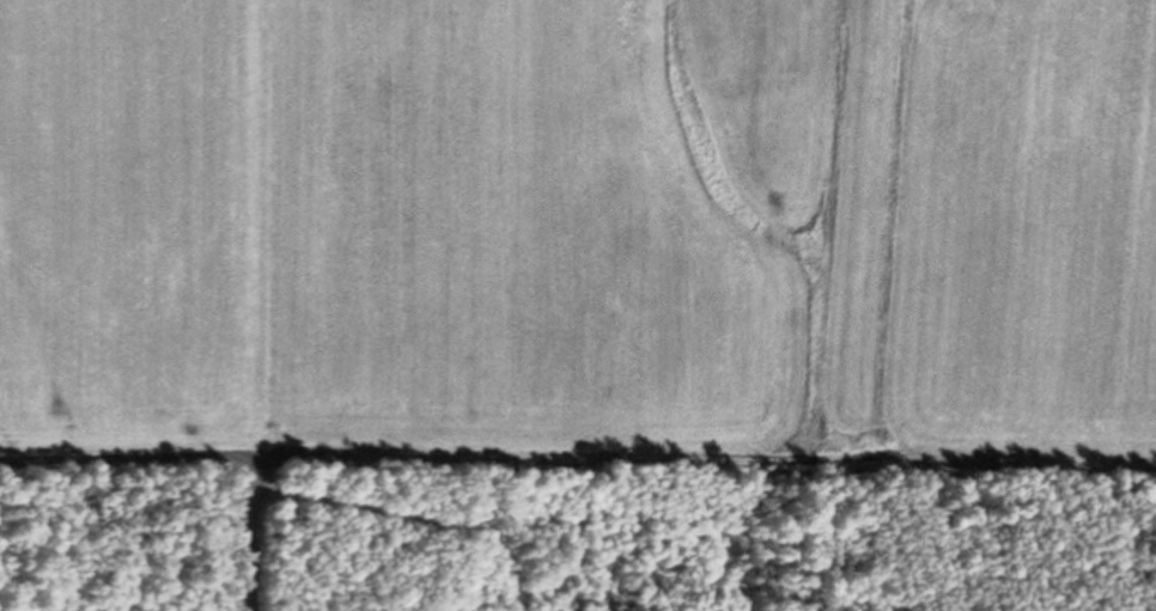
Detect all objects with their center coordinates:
road: (164, 490)

